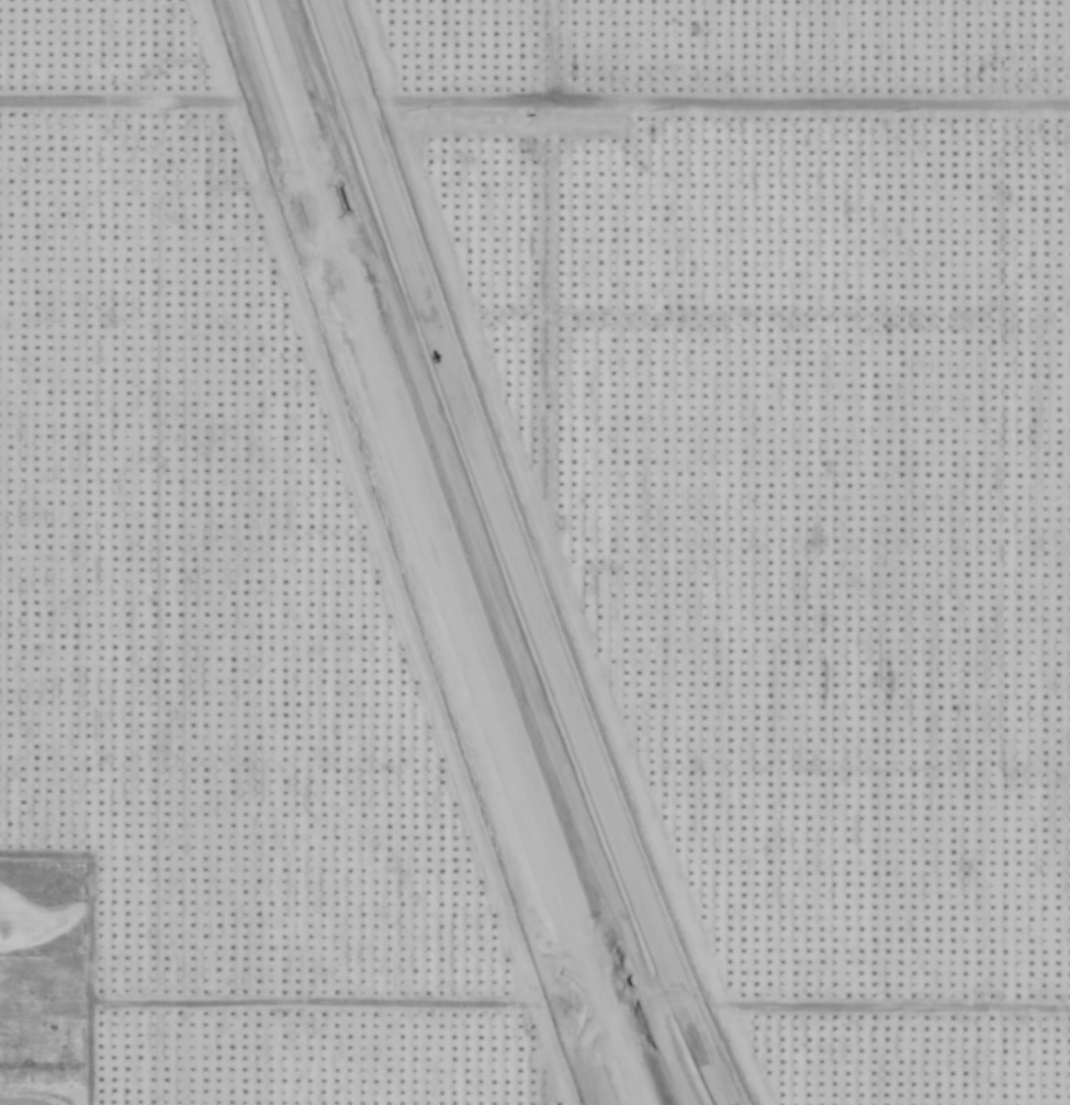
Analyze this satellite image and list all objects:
road: (735, 109)
road: (106, 111)
railway: (430, 554)
railway: (442, 554)
road: (83, 943)
road: (302, 1014)
road: (893, 1016)
road: (42, 1100)

